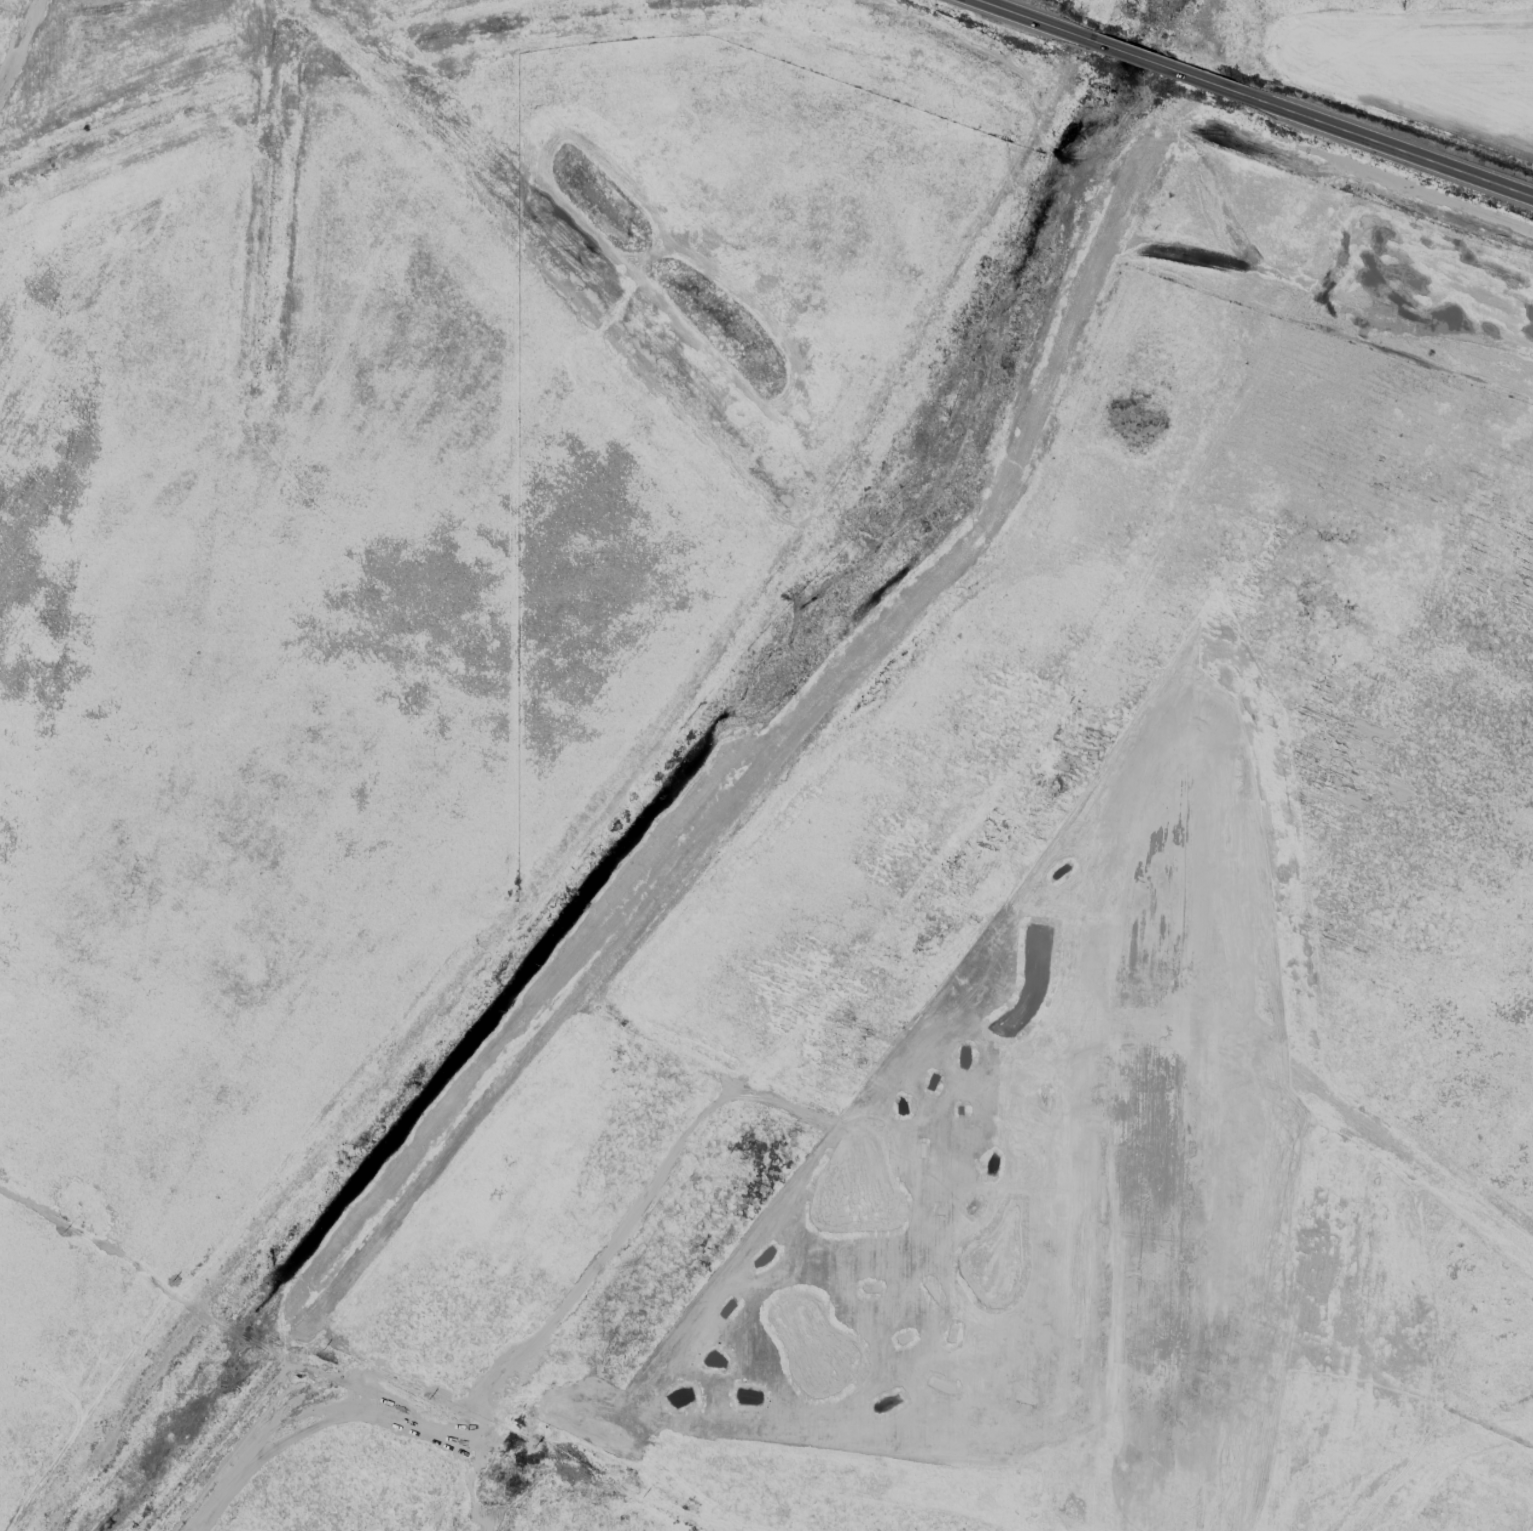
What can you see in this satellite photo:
road: (1033, 17)
road: (1154, 58)
road: (1379, 138)
river: (680, 779)

